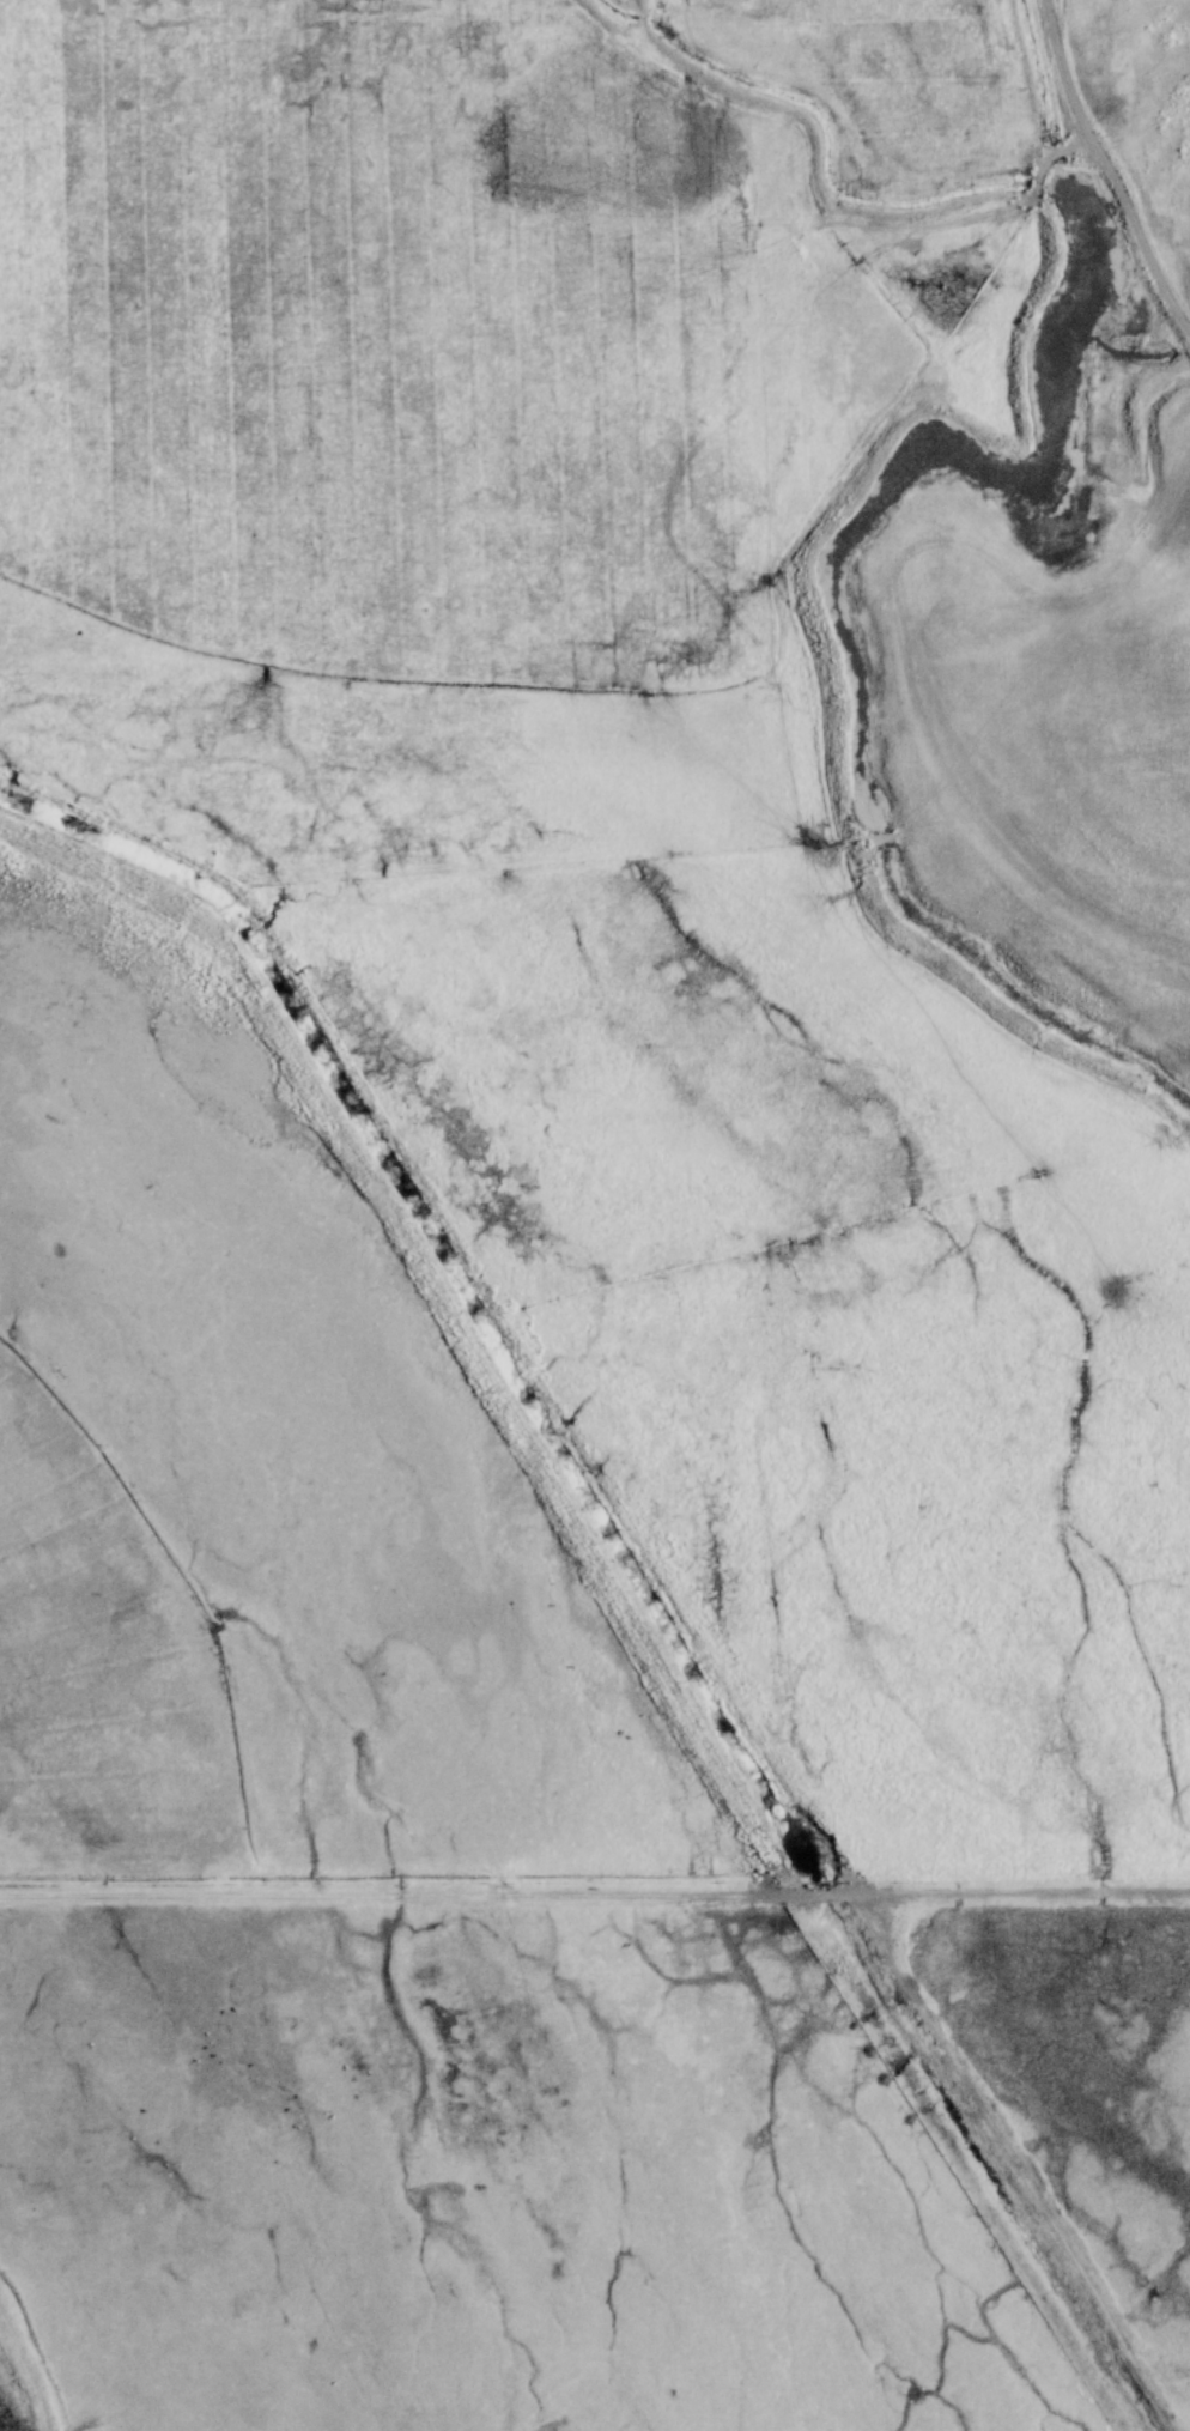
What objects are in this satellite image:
road: (1110, 168)

